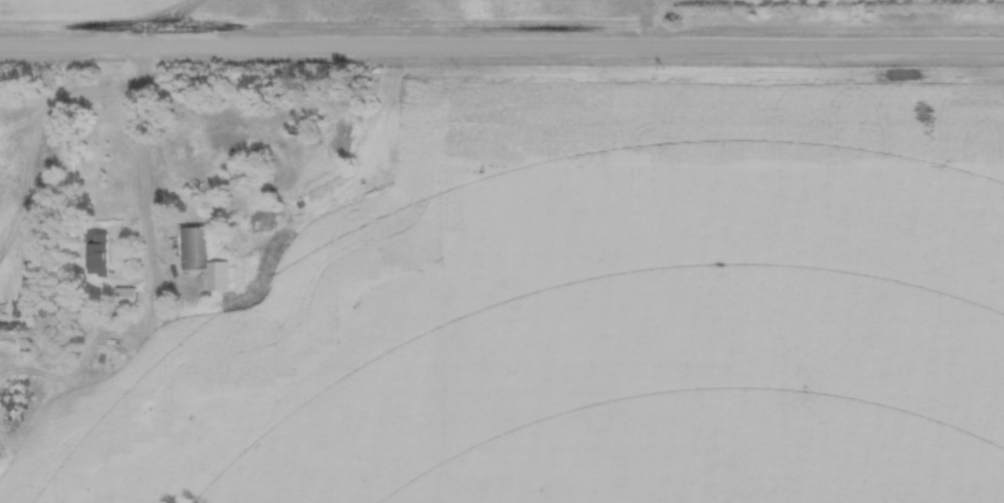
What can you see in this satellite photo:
road: (502, 52)
road: (143, 147)
building: (192, 248)
building: (97, 254)
building: (217, 277)
building: (124, 297)
building: (103, 360)

